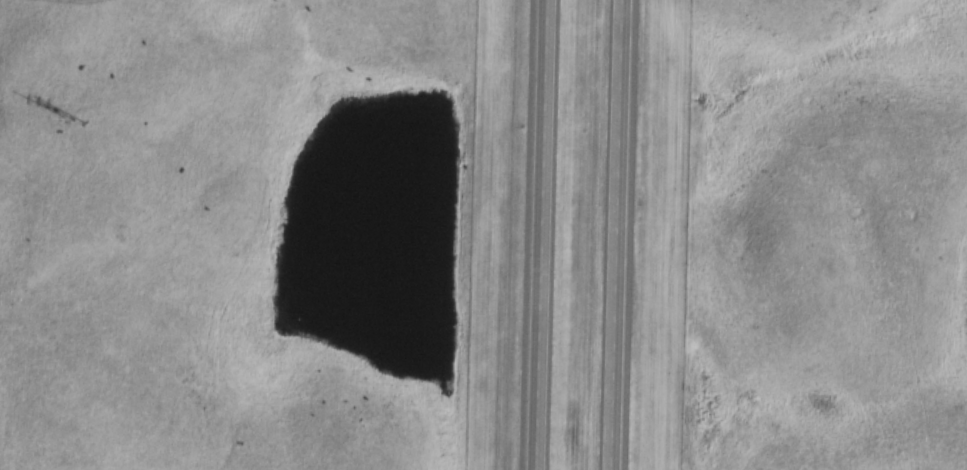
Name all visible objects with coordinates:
power tower: (64, 106)
road: (543, 234)
road: (629, 235)

